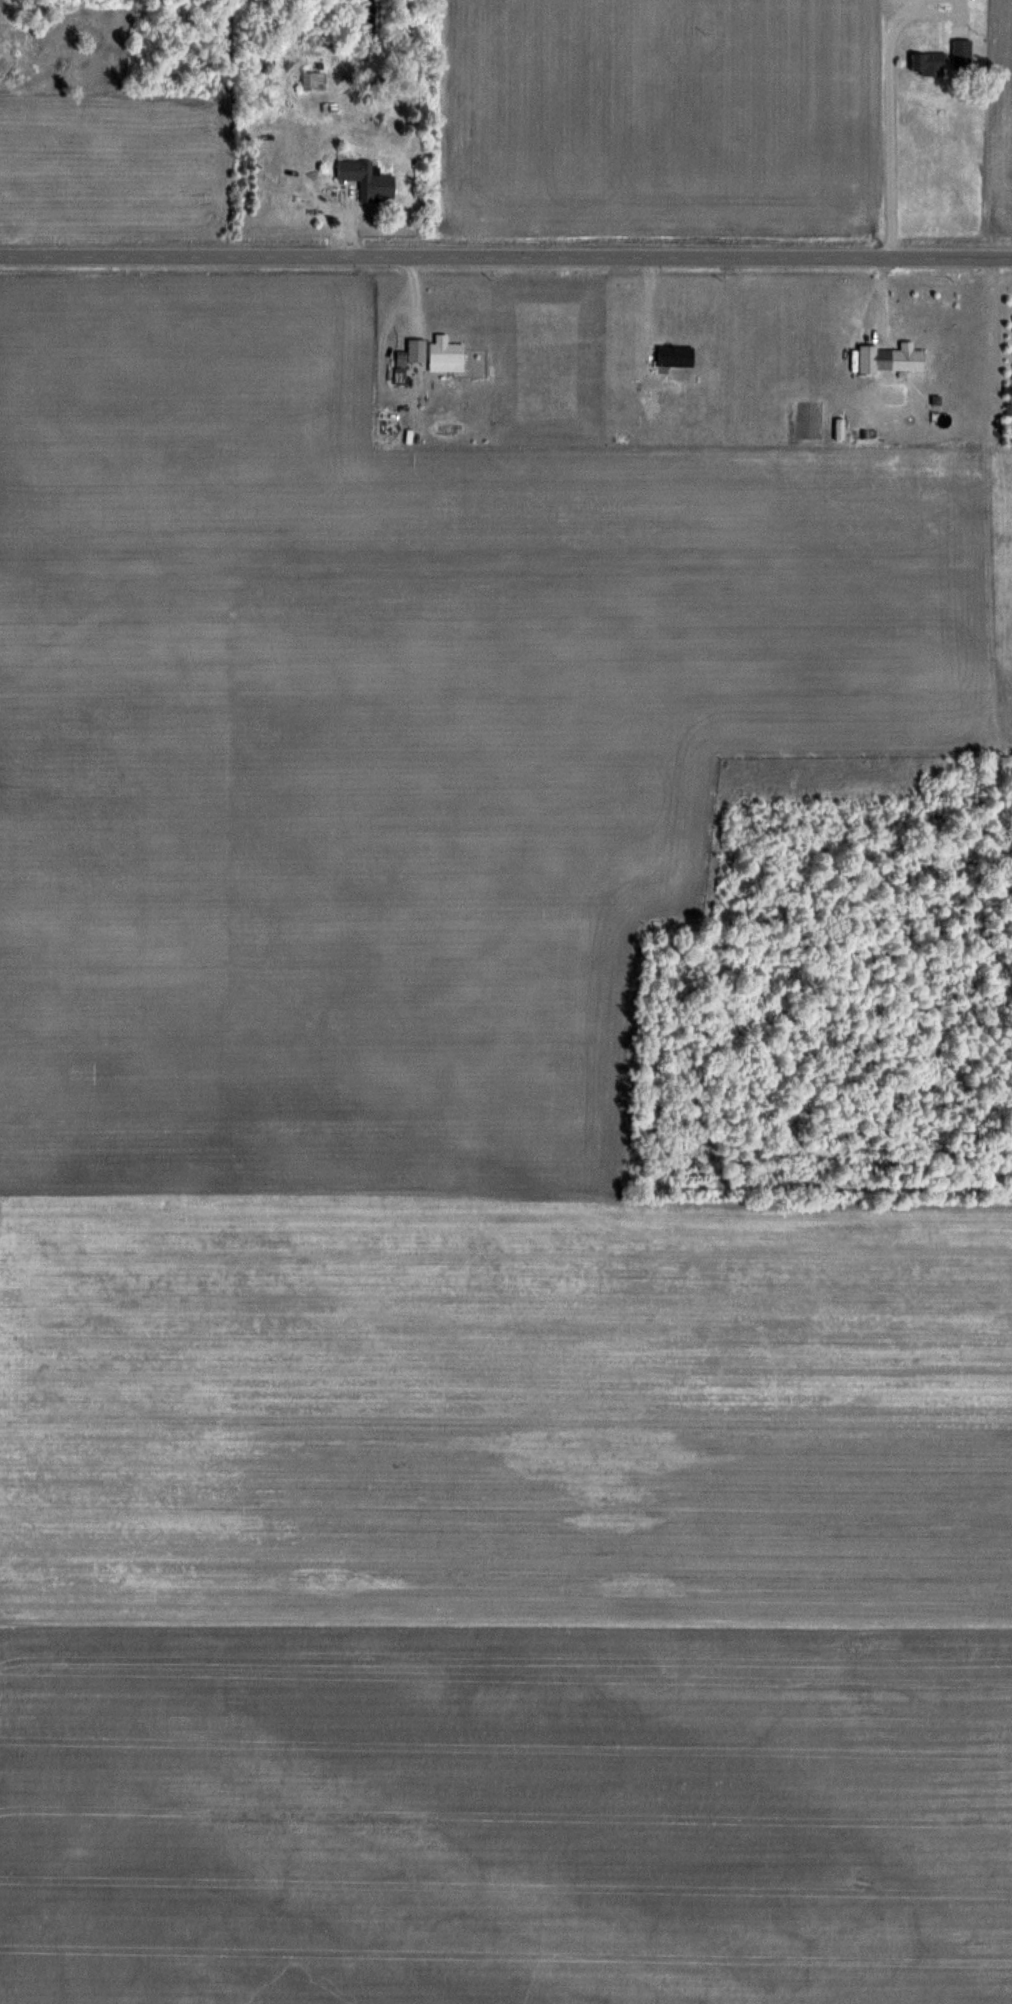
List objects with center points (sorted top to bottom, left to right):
road: (912, 4)
road: (935, 13)
building: (961, 50)
building: (928, 62)
building: (313, 81)
road: (886, 131)
building: (368, 180)
road: (505, 260)
building: (446, 353)
building: (675, 356)
building: (907, 359)

